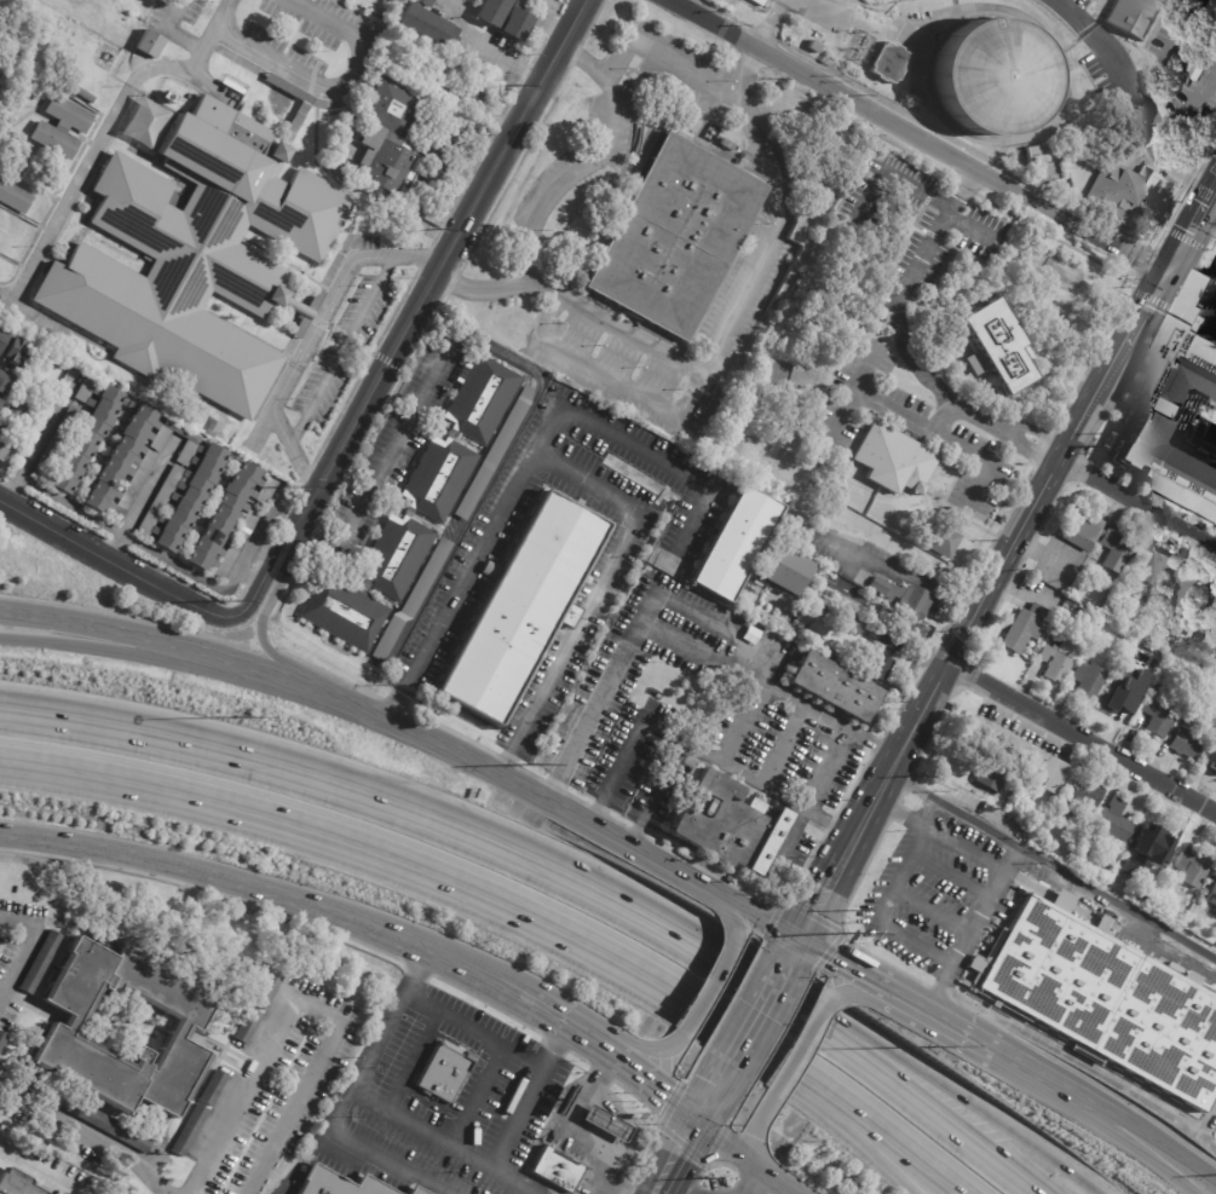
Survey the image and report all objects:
building: (352, 0)
road: (778, 5)
road: (1073, 12)
building: (1134, 16)
building: (502, 18)
road: (544, 22)
road: (880, 22)
building: (423, 24)
road: (766, 29)
road: (171, 33)
parking lot: (287, 39)
building: (150, 45)
road: (488, 46)
building: (814, 47)
road: (1162, 47)
building: (891, 62)
road: (684, 63)
building: (990, 74)
storage tank: (990, 74)
road: (335, 86)
building: (83, 96)
building: (478, 96)
road: (1057, 98)
road: (1187, 103)
road: (1141, 115)
building: (148, 125)
building: (60, 128)
road: (104, 129)
building: (388, 137)
road: (914, 137)
building: (726, 144)
road: (1053, 154)
building: (1037, 155)
road: (900, 175)
road: (549, 190)
road: (1032, 191)
building: (1116, 191)
building: (15, 197)
building: (8, 223)
road: (969, 225)
building: (675, 237)
building: (198, 260)
road: (1186, 272)
traffic signals: (1160, 273)
road: (434, 275)
road: (1210, 285)
road: (904, 289)
road: (728, 322)
building: (2, 336)
road: (313, 338)
building: (996, 347)
parking lot: (345, 348)
road: (341, 350)
building: (15, 352)
road: (610, 377)
building: (5, 383)
road: (852, 392)
building: (0, 399)
building: (1180, 416)
road: (943, 419)
road: (980, 419)
building: (11, 426)
road: (1039, 432)
road: (39, 434)
road: (941, 436)
road: (394, 448)
road: (1030, 449)
road: (650, 454)
building: (894, 461)
road: (583, 477)
building: (188, 479)
road: (142, 498)
road: (1139, 500)
road: (478, 502)
building: (415, 511)
building: (1003, 520)
building: (454, 525)
building: (1082, 530)
building: (940, 541)
building: (734, 546)
building: (1117, 549)
road: (1007, 554)
road: (114, 561)
road: (172, 561)
building: (1153, 565)
road: (848, 570)
road: (249, 576)
building: (773, 578)
building: (800, 582)
road: (259, 587)
building: (1183, 589)
building: (1210, 593)
road: (662, 594)
building: (1130, 596)
building: (904, 598)
building: (782, 606)
building: (825, 606)
building: (521, 607)
building: (1212, 613)
building: (1137, 617)
building: (1177, 618)
building: (813, 622)
building: (1149, 624)
building: (1025, 628)
building: (1160, 631)
road: (263, 633)
building: (1143, 633)
building: (887, 635)
road: (102, 647)
road: (701, 652)
building: (870, 662)
building: (1056, 665)
building: (1212, 667)
building: (1089, 681)
building: (832, 690)
building: (1123, 700)
building: (955, 706)
building: (1159, 713)
road: (374, 714)
road: (829, 719)
building: (1191, 720)
road: (1083, 737)
road: (783, 745)
building: (1187, 745)
road: (696, 746)
building: (1212, 748)
building: (1010, 750)
building: (1215, 768)
building: (989, 775)
building: (1087, 791)
road: (656, 792)
road: (809, 794)
building: (1066, 808)
road: (421, 812)
building: (1113, 821)
building: (730, 825)
road: (938, 836)
building: (1088, 840)
building: (1147, 847)
road: (407, 861)
road: (1050, 861)
building: (1193, 867)
road: (952, 875)
building: (1215, 876)
building: (1148, 881)
road: (204, 889)
road: (267, 893)
building: (1211, 895)
road: (933, 911)
road: (731, 912)
road: (881, 913)
road: (759, 916)
road: (973, 928)
road: (22, 933)
traffic signals: (799, 938)
parking lot: (17, 945)
road: (791, 950)
building: (40, 962)
road: (842, 963)
road: (417, 969)
building: (91, 970)
road: (779, 974)
building: (177, 975)
building: (1186, 975)
road: (711, 986)
building: (265, 991)
road: (863, 992)
building: (1105, 1000)
road: (302, 1002)
road: (488, 1004)
road: (940, 1017)
road: (559, 1023)
building: (247, 1025)
road: (751, 1027)
road: (471, 1028)
building: (2, 1039)
road: (801, 1040)
road: (557, 1043)
road: (641, 1050)
building: (98, 1059)
road: (410, 1059)
road: (580, 1059)
building: (186, 1061)
road: (1026, 1068)
building: (444, 1072)
road: (601, 1073)
road: (649, 1086)
building: (212, 1088)
road: (474, 1094)
road: (959, 1094)
road: (524, 1095)
road: (715, 1096)
parking lot: (218, 1097)
road: (340, 1101)
road: (921, 1103)
road: (1093, 1104)
road: (652, 1112)
road: (877, 1120)
building: (104, 1124)
building: (605, 1124)
traffic signals: (701, 1124)
road: (848, 1125)
road: (755, 1129)
building: (189, 1130)
road: (574, 1131)
road: (93, 1132)
road: (442, 1140)
road: (682, 1143)
road: (1122, 1143)
road: (730, 1146)
road: (1171, 1152)
road: (682, 1159)
road: (722, 1164)
road: (41, 1165)
parking lot: (41, 1171)
building: (555, 1171)
road: (750, 1179)
road: (774, 1181)
building: (345, 1182)
road: (751, 1182)
road: (687, 1187)
building: (428, 1190)
road: (743, 1190)
building: (414, 1192)
building: (0, 1193)

